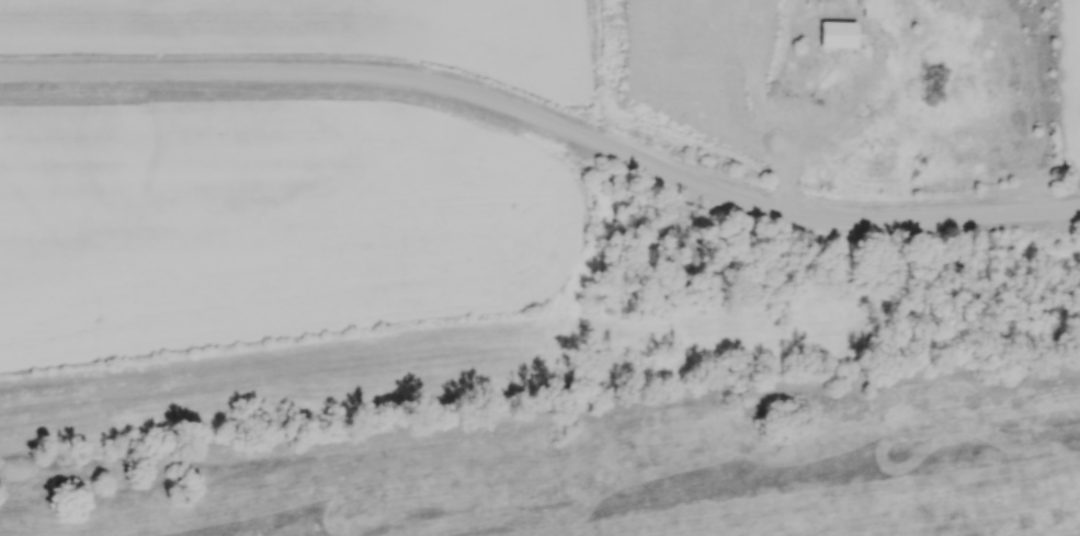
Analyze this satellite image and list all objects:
building: (873, 8)
crop: (325, 31)
building: (838, 33)
road: (545, 126)
parking lot: (793, 128)
road: (788, 164)
crop: (262, 213)

